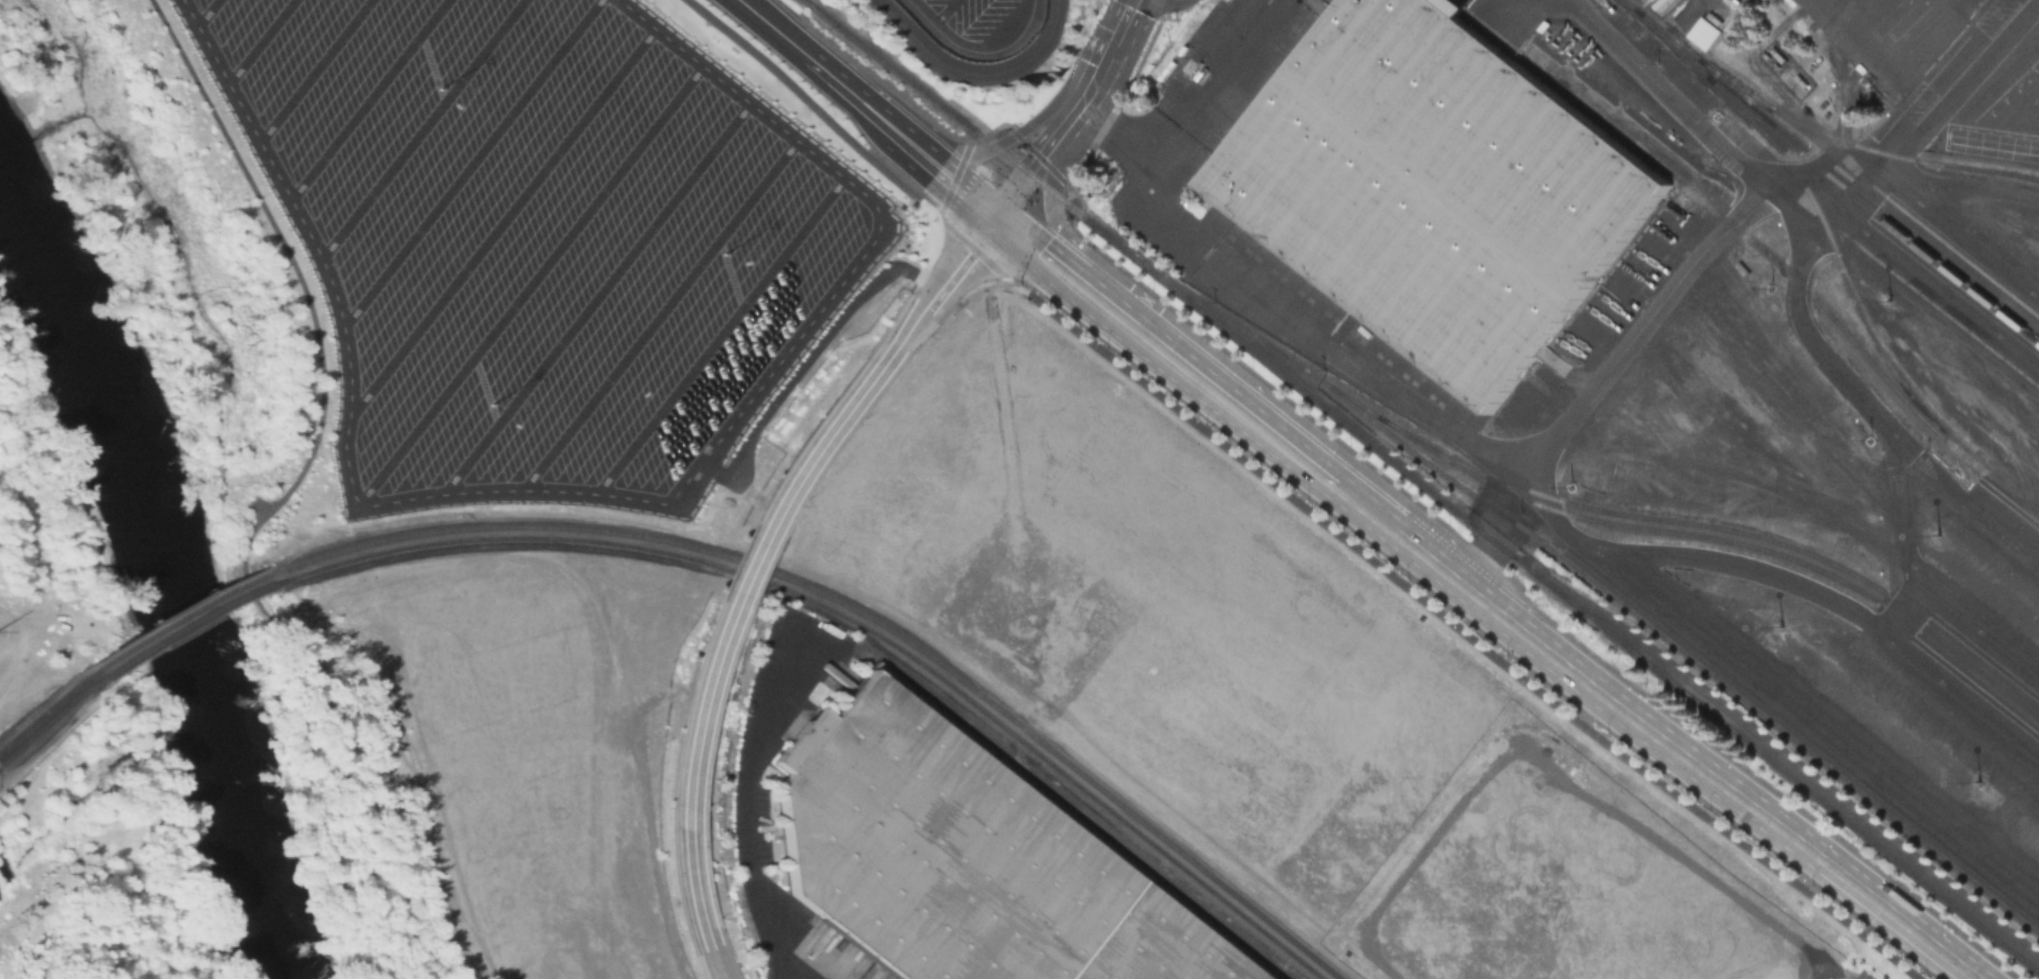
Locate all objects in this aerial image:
road: (943, 11)
road: (1997, 11)
road: (205, 12)
road: (1832, 18)
road: (778, 31)
building: (1708, 36)
road: (260, 41)
road: (1117, 45)
road: (976, 50)
road: (1867, 56)
road: (314, 70)
road: (975, 72)
road: (842, 83)
road: (1211, 89)
road: (367, 99)
road: (1051, 107)
road: (1077, 113)
road: (1691, 119)
road: (421, 128)
road: (896, 129)
railway: (1811, 132)
road: (972, 152)
road: (470, 163)
road: (1029, 176)
railway: (1833, 181)
road: (961, 184)
road: (1955, 187)
building: (1434, 189)
railway: (1869, 195)
road: (871, 200)
traffic signals: (999, 216)
road: (499, 222)
road: (1810, 240)
road: (964, 260)
railway: (1790, 274)
road: (530, 283)
road: (599, 297)
railway: (1856, 304)
road: (660, 314)
road: (913, 324)
road: (718, 334)
street lamp: (927, 336)
road: (1161, 348)
road: (809, 355)
road: (1227, 363)
road: (347, 415)
road: (1428, 417)
street lamp: (853, 423)
railway: (2008, 481)
railway: (1422, 487)
road: (287, 494)
road: (1294, 500)
street lamp: (794, 505)
railway: (1596, 509)
road: (1486, 522)
road: (1389, 527)
railway: (1722, 540)
road: (745, 567)
railway: (182, 615)
railway: (866, 616)
railway: (187, 622)
railway: (859, 628)
road: (1546, 647)
railway: (1677, 649)
street lamp: (715, 706)
railway: (41, 717)
railway: (43, 728)
railway: (1786, 761)
road: (36, 766)
street lamp: (703, 807)
railway: (1070, 818)
road: (1807, 848)
building: (958, 861)
road: (697, 889)
street lamp: (719, 917)
road: (721, 963)

